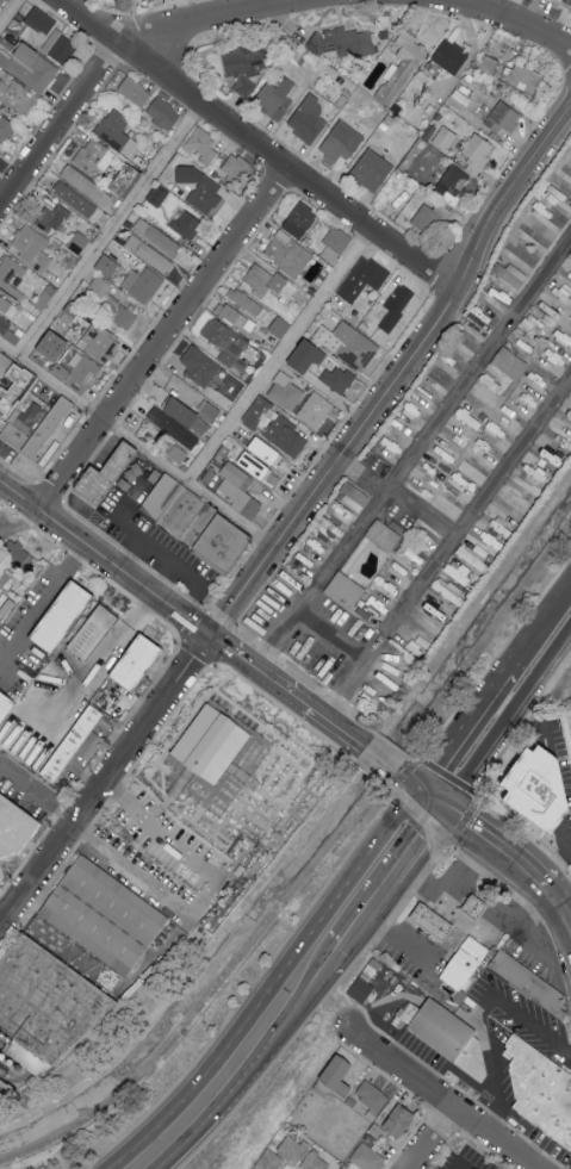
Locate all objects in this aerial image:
building: (2, 2)
building: (566, 4)
road: (10, 13)
road: (501, 17)
building: (41, 20)
road: (118, 42)
building: (342, 43)
building: (60, 46)
building: (451, 56)
building: (247, 61)
building: (403, 68)
building: (488, 68)
building: (522, 77)
building: (244, 87)
building: (135, 91)
building: (17, 97)
building: (163, 113)
building: (503, 117)
building: (309, 119)
building: (5, 129)
building: (117, 132)
building: (445, 138)
building: (342, 142)
road: (257, 144)
building: (205, 153)
building: (477, 154)
building: (93, 157)
building: (236, 167)
building: (372, 170)
building: (126, 179)
building: (455, 181)
building: (86, 185)
building: (157, 195)
building: (74, 199)
building: (49, 218)
building: (299, 219)
building: (427, 219)
building: (186, 223)
road: (108, 230)
building: (533, 237)
building: (157, 238)
building: (26, 240)
building: (336, 240)
building: (79, 243)
building: (149, 254)
building: (288, 254)
building: (570, 256)
building: (41, 262)
building: (107, 265)
building: (510, 275)
building: (12, 276)
building: (364, 278)
building: (263, 281)
building: (143, 285)
building: (98, 287)
building: (243, 300)
building: (8, 305)
building: (396, 307)
building: (118, 313)
building: (230, 315)
building: (8, 327)
building: (280, 327)
road: (162, 338)
building: (99, 342)
building: (228, 346)
building: (352, 346)
road: (279, 355)
building: (308, 356)
building: (509, 362)
building: (5, 363)
building: (70, 363)
building: (200, 366)
road: (396, 377)
building: (0, 379)
building: (339, 379)
building: (286, 392)
building: (315, 410)
building: (210, 411)
building: (257, 413)
building: (510, 415)
building: (30, 416)
building: (188, 416)
building: (173, 429)
building: (287, 436)
road: (136, 446)
building: (266, 452)
road: (412, 454)
building: (255, 465)
building: (110, 474)
building: (525, 487)
building: (238, 491)
building: (354, 497)
road: (398, 497)
building: (199, 523)
road: (17, 526)
building: (384, 535)
building: (323, 536)
road: (153, 549)
road: (89, 551)
road: (448, 552)
building: (14, 556)
building: (473, 560)
building: (458, 572)
building: (6, 578)
building: (346, 590)
building: (449, 592)
road: (43, 599)
building: (7, 609)
road: (544, 617)
building: (62, 618)
road: (195, 627)
building: (94, 634)
road: (334, 636)
traffic signals: (210, 638)
road: (231, 653)
road: (99, 661)
building: (137, 664)
road: (272, 683)
road: (298, 702)
building: (6, 709)
road: (464, 720)
road: (507, 721)
road: (334, 727)
road: (536, 728)
building: (77, 746)
building: (211, 746)
road: (379, 761)
road: (404, 779)
road: (106, 785)
traffic signals: (412, 788)
road: (242, 789)
building: (536, 790)
road: (39, 796)
road: (428, 800)
traffic signals: (443, 812)
building: (14, 828)
road: (498, 846)
road: (563, 858)
road: (128, 866)
parking lot: (143, 876)
building: (0, 878)
road: (395, 881)
road: (458, 891)
road: (561, 902)
building: (482, 907)
building: (105, 920)
building: (439, 921)
road: (499, 922)
road: (386, 925)
road: (405, 938)
road: (337, 960)
building: (468, 964)
building: (525, 983)
road: (272, 990)
building: (365, 991)
road: (345, 997)
building: (45, 1008)
road: (530, 1018)
road: (367, 1021)
building: (452, 1038)
road: (5, 1064)
road: (249, 1072)
building: (337, 1077)
road: (497, 1087)
building: (6, 1090)
building: (539, 1090)
building: (372, 1098)
road: (441, 1101)
building: (401, 1119)
road: (433, 1140)
building: (293, 1149)
building: (367, 1155)
building: (268, 1159)
building: (315, 1162)
road: (457, 1167)
road: (532, 1168)

